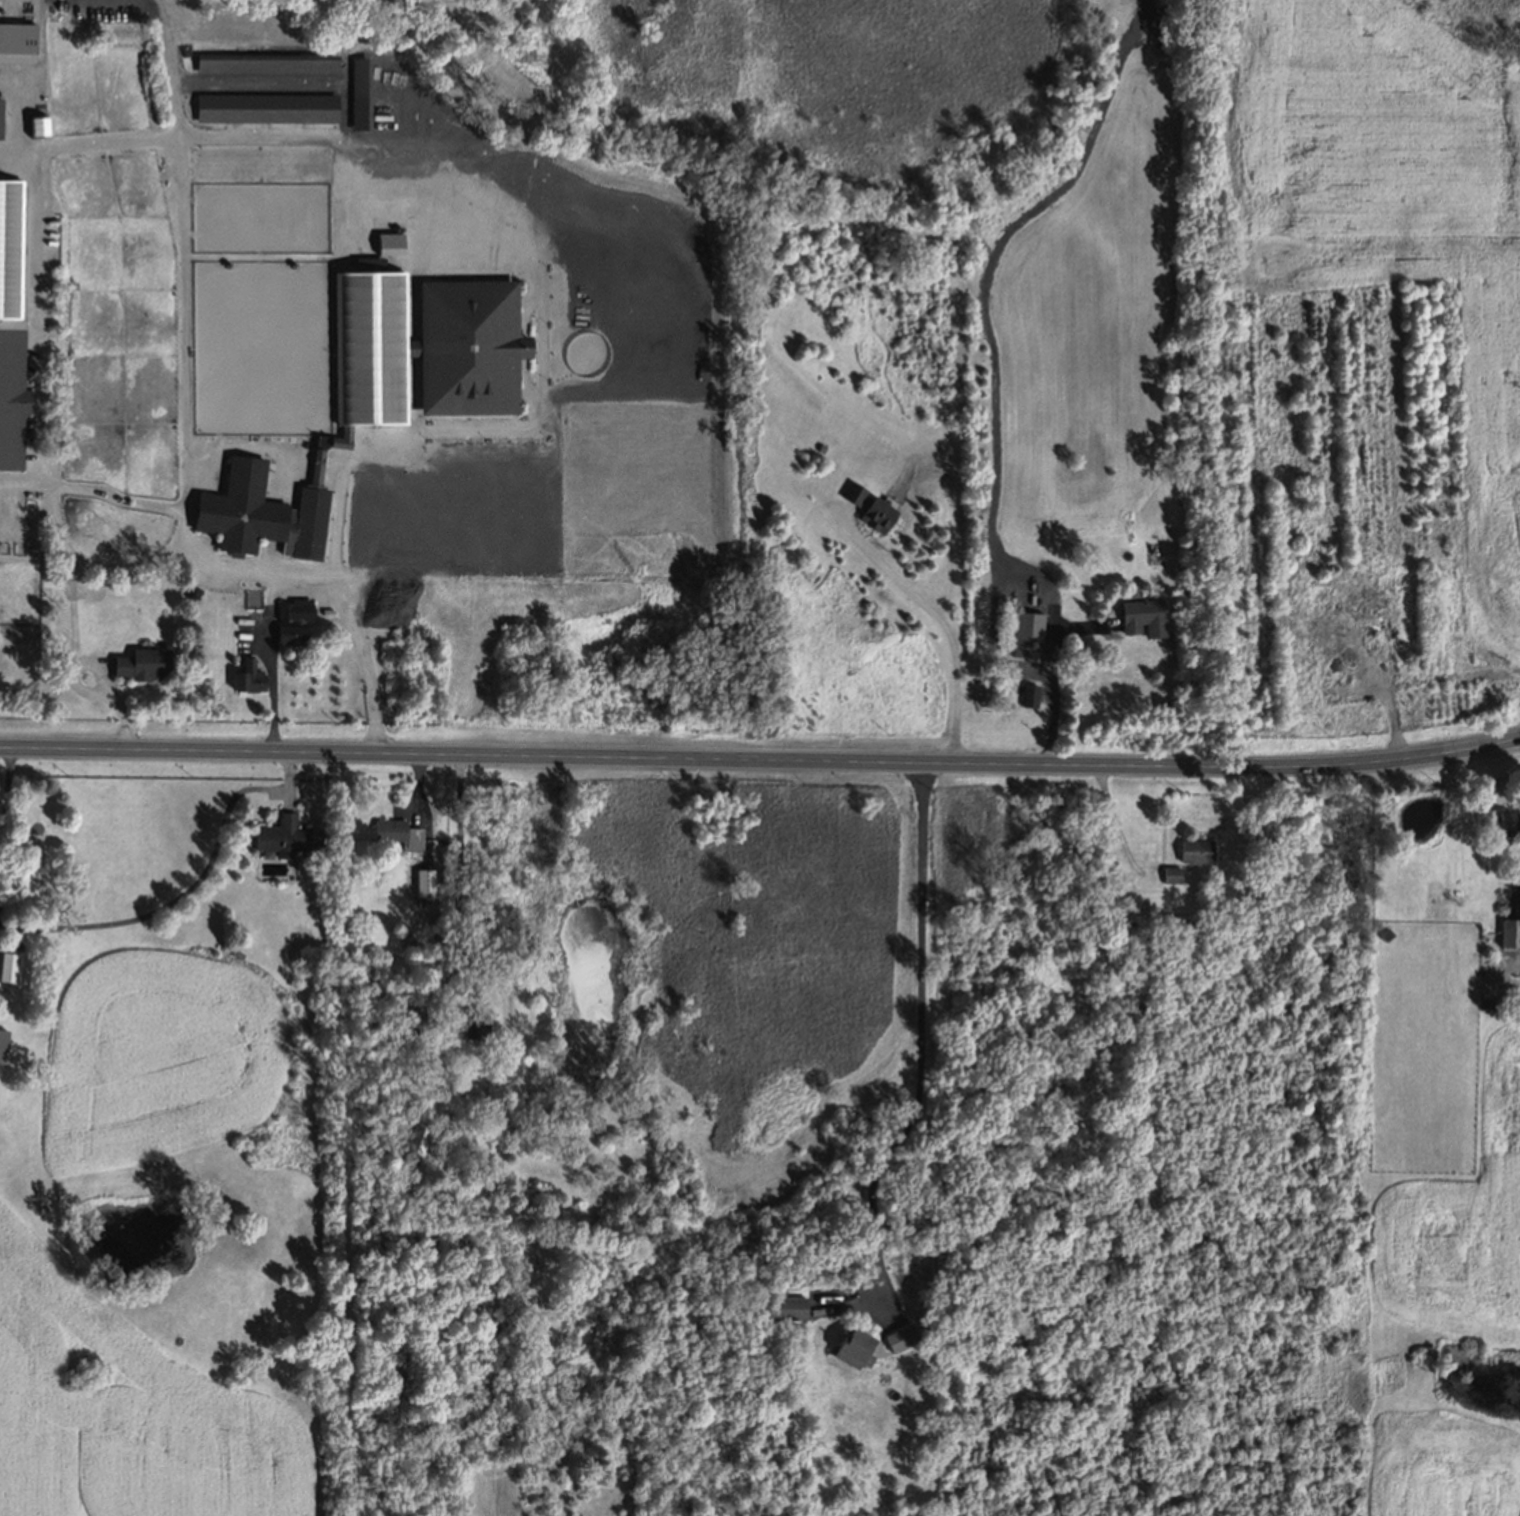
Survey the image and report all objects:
building: (15, 44)
building: (266, 64)
road: (29, 74)
road: (291, 82)
building: (358, 96)
building: (267, 111)
building: (1, 118)
building: (36, 128)
road: (501, 225)
building: (389, 238)
road: (185, 256)
building: (370, 264)
building: (768, 299)
road: (38, 319)
building: (12, 325)
building: (371, 347)
building: (468, 347)
building: (343, 438)
building: (317, 461)
building: (695, 483)
building: (867, 506)
building: (238, 507)
road: (179, 513)
road: (102, 564)
building: (1139, 581)
building: (190, 589)
building: (253, 600)
building: (293, 606)
building: (1140, 616)
road: (939, 620)
building: (290, 632)
building: (1024, 633)
building: (140, 662)
road: (271, 663)
road: (368, 665)
building: (248, 673)
building: (1026, 692)
road: (1054, 695)
road: (1420, 757)
road: (659, 759)
road: (6, 811)
building: (1508, 823)
building: (391, 831)
building: (289, 835)
building: (1196, 851)
road: (459, 873)
building: (1172, 875)
building: (425, 883)
building: (9, 928)
building: (1510, 934)
road: (918, 1027)
building: (4, 1041)
building: (418, 1139)
building: (790, 1308)
building: (901, 1338)
building: (855, 1348)

